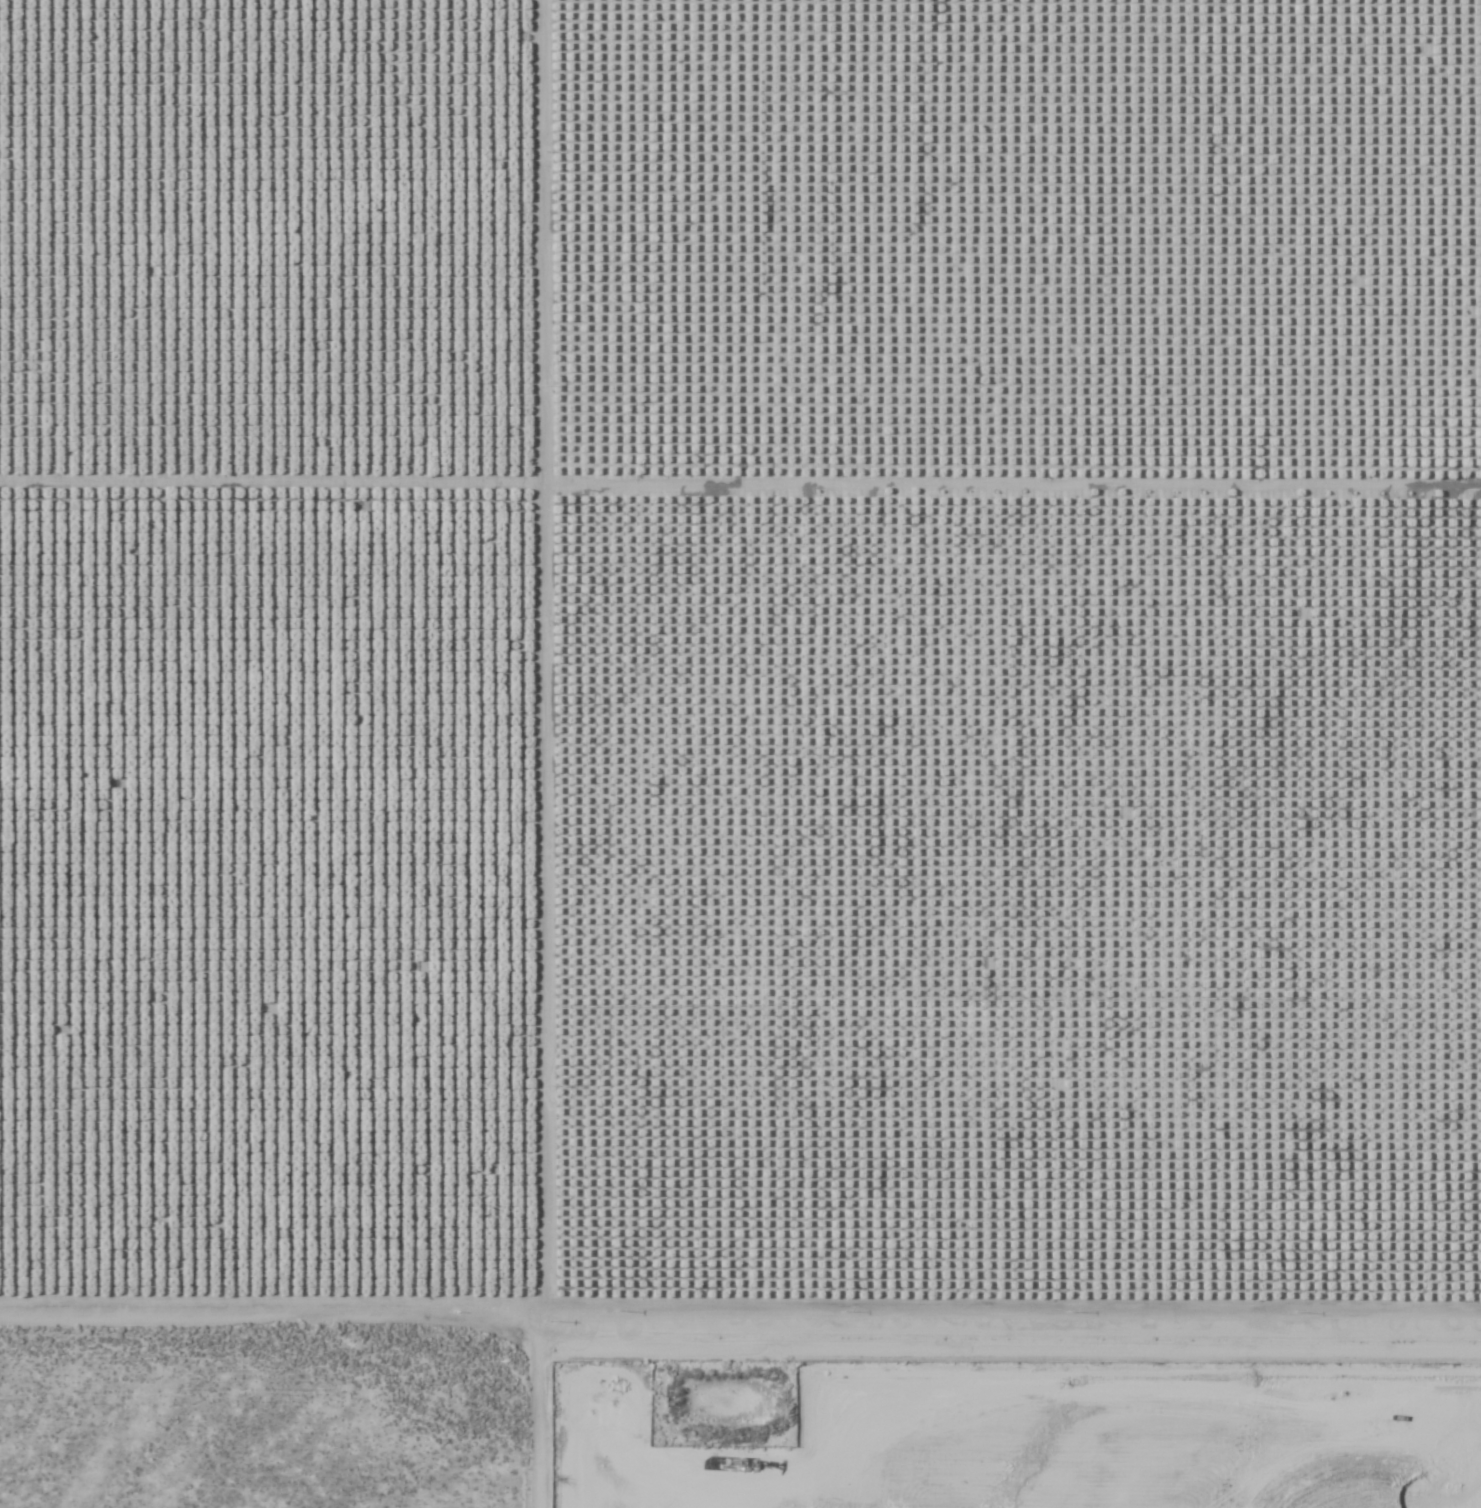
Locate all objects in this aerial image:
crop: (739, 653)
road: (740, 1354)
landfill: (1000, 1406)

